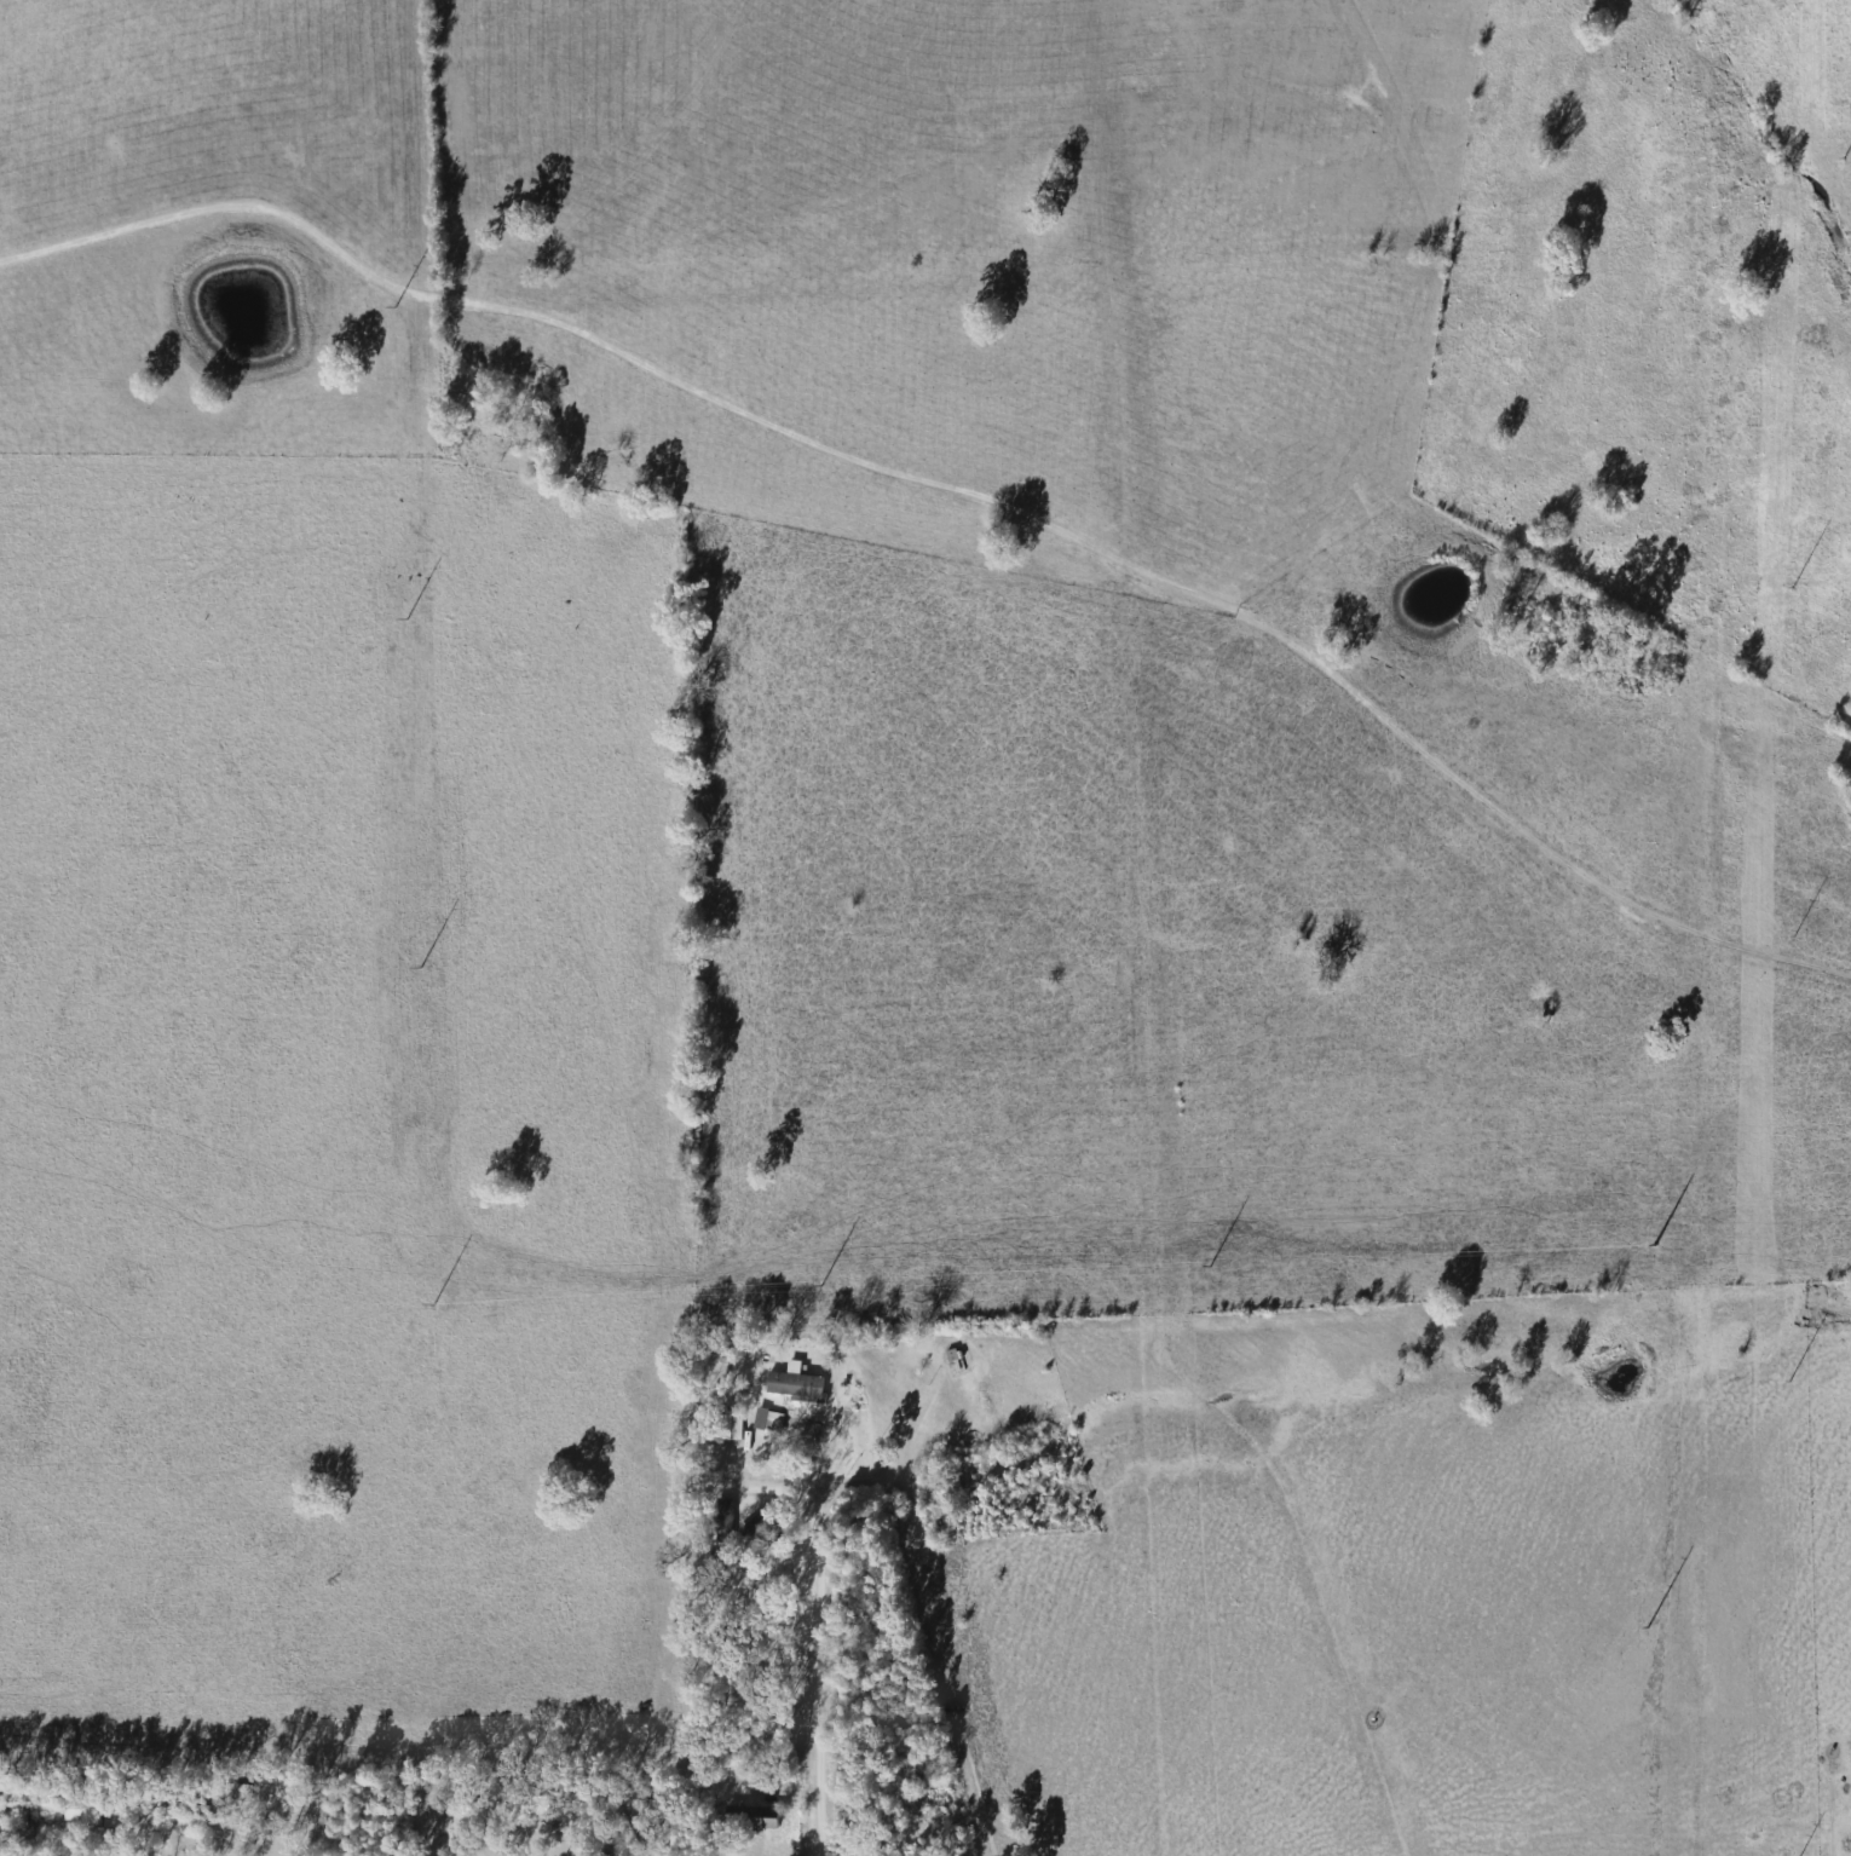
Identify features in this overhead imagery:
building: (796, 1387)
road: (815, 1682)

